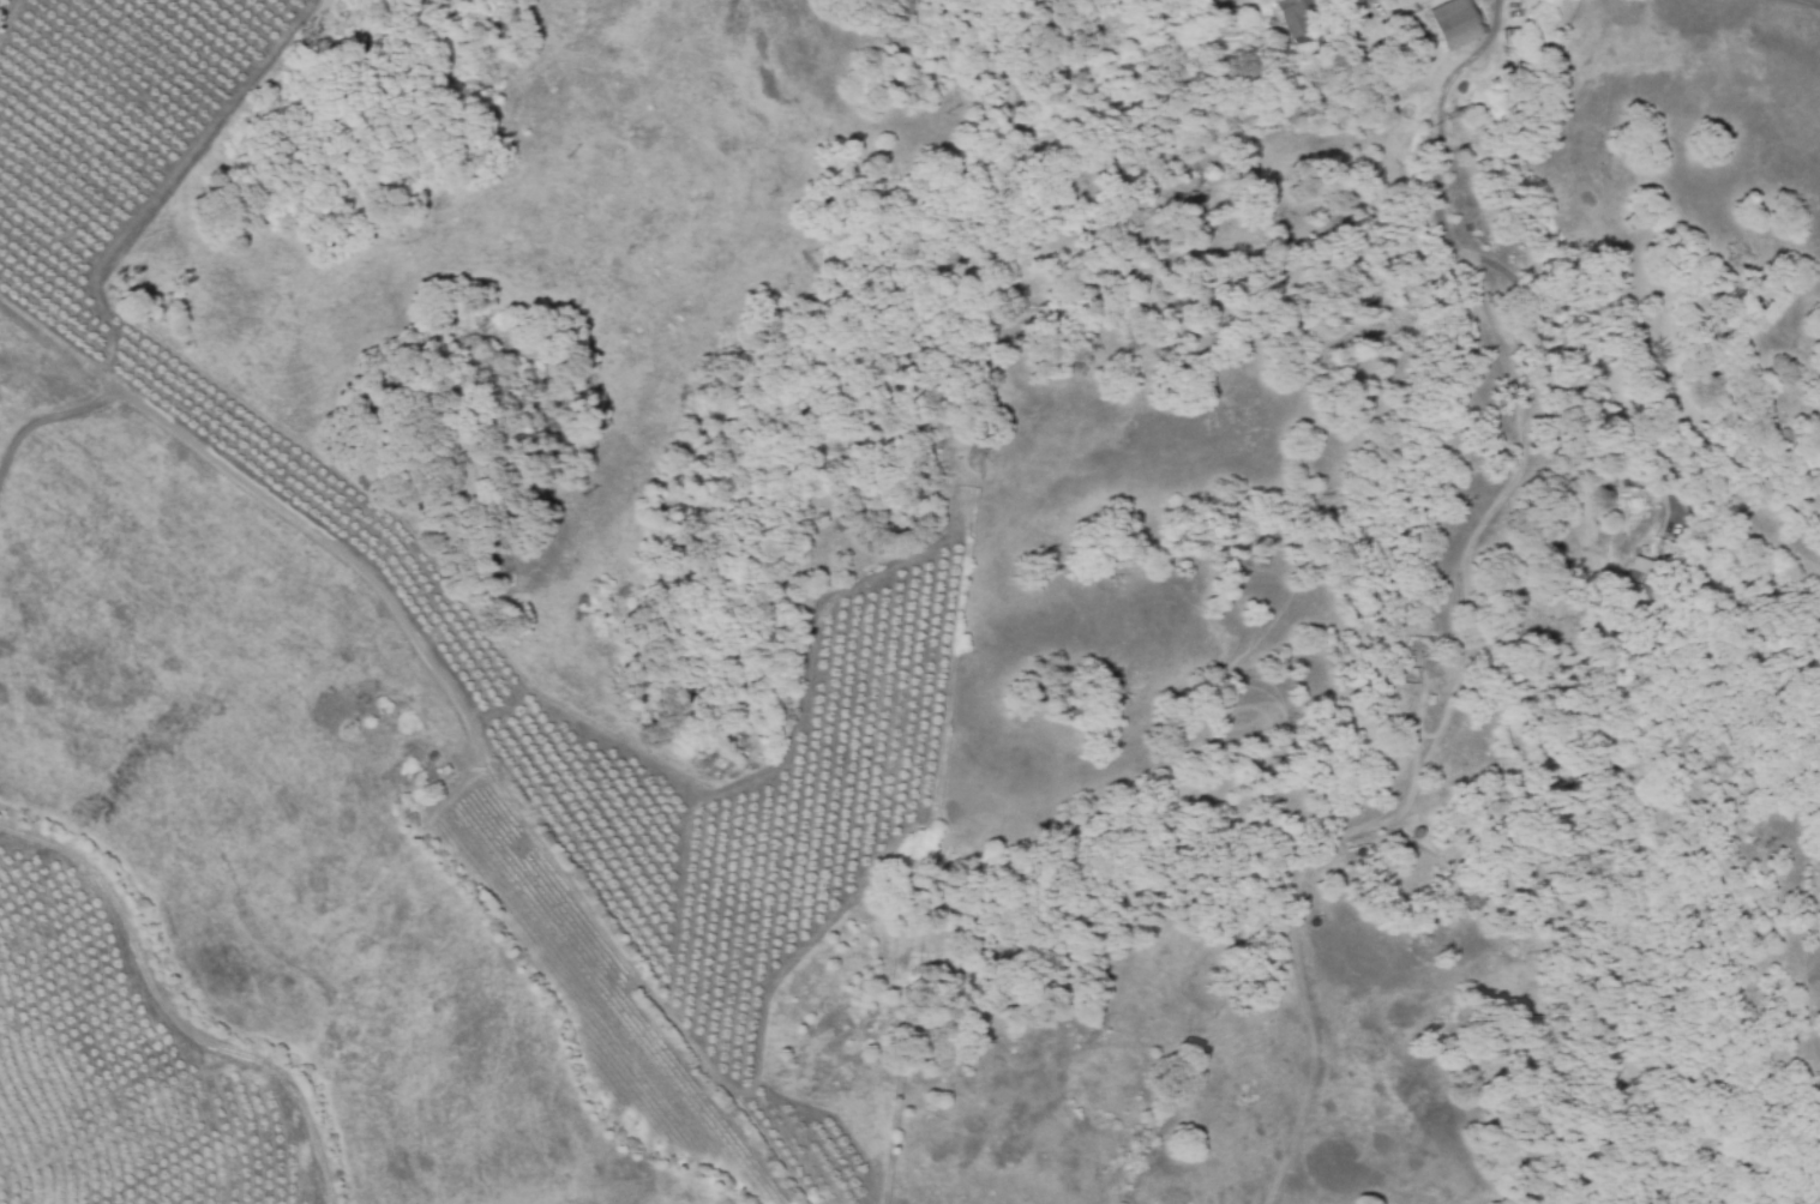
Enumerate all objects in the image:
building: (1292, 16)
building: (1458, 23)
road: (1465, 64)
building: (1636, 583)

